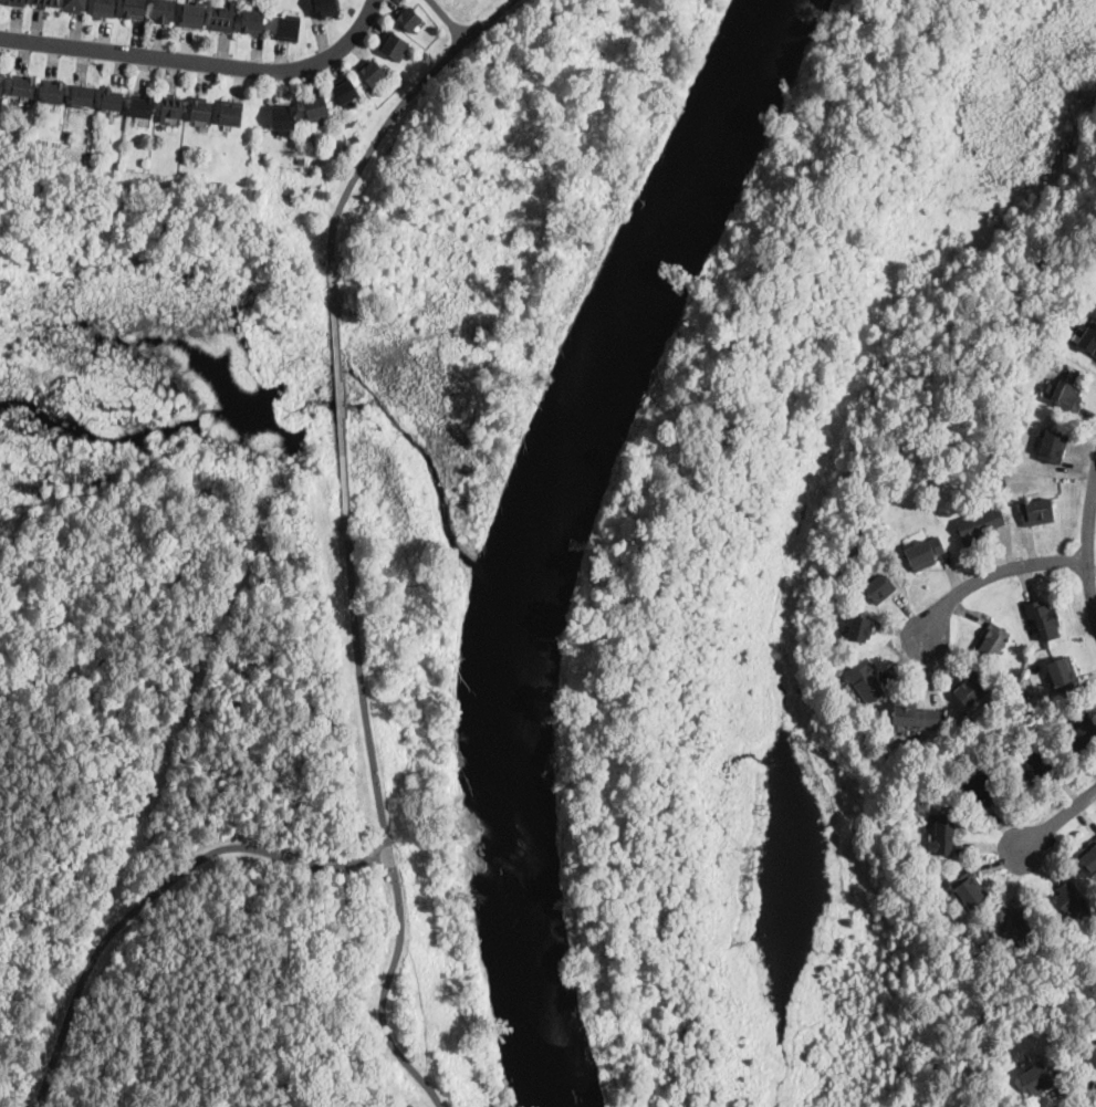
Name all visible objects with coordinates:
building: (15, 2)
building: (45, 3)
building: (75, 6)
building: (105, 8)
building: (326, 8)
building: (135, 9)
building: (164, 11)
building: (192, 15)
building: (222, 18)
building: (408, 19)
road: (449, 19)
building: (253, 21)
building: (289, 29)
building: (394, 44)
road: (202, 62)
building: (372, 73)
building: (2, 84)
building: (23, 85)
building: (344, 90)
building: (54, 92)
building: (83, 95)
building: (112, 100)
building: (142, 105)
building: (171, 106)
building: (317, 107)
building: (201, 108)
building: (231, 113)
road: (392, 115)
building: (283, 118)
building: (69, 134)
building: (354, 138)
building: (260, 154)
building: (301, 160)
park: (410, 250)
building: (1052, 269)
building: (1077, 271)
building: (1087, 336)
building: (1064, 395)
road: (341, 401)
building: (1052, 447)
building: (1000, 479)
building: (902, 484)
building: (1036, 511)
building: (978, 525)
river: (542, 526)
road: (1086, 537)
building: (925, 551)
road: (985, 576)
building: (878, 588)
building: (1042, 618)
building: (858, 628)
building: (992, 639)
building: (1062, 673)
building: (866, 682)
building: (971, 690)
building: (1034, 701)
building: (915, 717)
building: (1082, 730)
park: (216, 755)
building: (1036, 765)
building: (979, 791)
road: (1058, 818)
road: (385, 829)
building: (942, 834)
building: (1088, 856)
road: (155, 890)
building: (967, 890)
building: (1067, 901)
building: (1013, 923)
building: (1088, 1055)
building: (1035, 1079)

